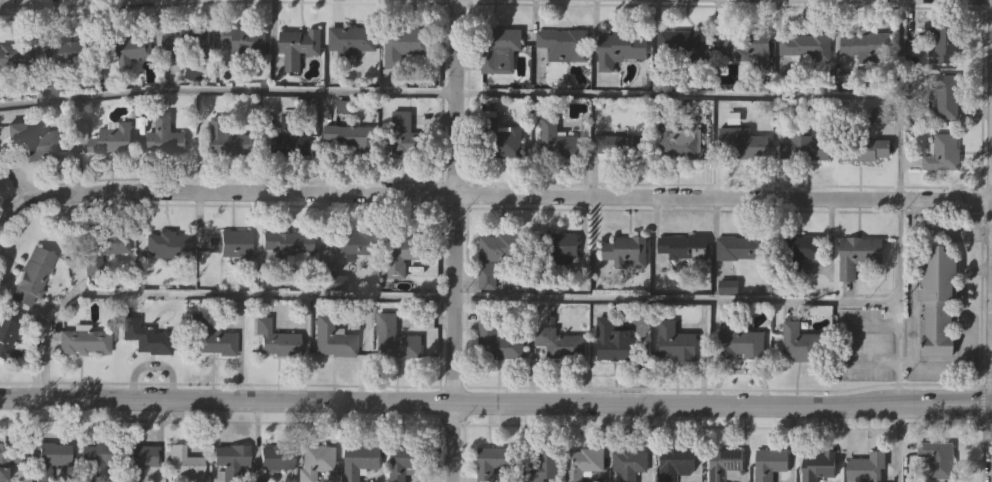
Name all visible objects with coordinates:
road: (45, 4)
building: (349, 40)
building: (944, 40)
building: (190, 42)
building: (246, 42)
building: (402, 43)
building: (564, 43)
building: (687, 43)
building: (298, 45)
building: (806, 45)
building: (866, 45)
building: (620, 46)
building: (130, 47)
building: (498, 47)
building: (748, 47)
building: (70, 50)
building: (15, 56)
road: (228, 90)
road: (679, 92)
building: (944, 93)
road: (901, 98)
building: (880, 116)
building: (405, 132)
building: (166, 134)
building: (556, 134)
building: (500, 135)
building: (677, 135)
building: (287, 136)
building: (349, 136)
building: (110, 139)
building: (227, 140)
building: (34, 142)
building: (743, 142)
building: (624, 144)
building: (805, 147)
building: (863, 148)
building: (943, 151)
road: (489, 194)
road: (455, 200)
building: (350, 241)
building: (285, 243)
building: (231, 244)
building: (169, 245)
building: (684, 245)
building: (101, 246)
building: (557, 246)
building: (741, 247)
building: (626, 249)
building: (801, 250)
building: (403, 252)
building: (497, 252)
building: (855, 255)
building: (32, 275)
building: (494, 280)
road: (204, 293)
road: (678, 298)
building: (937, 299)
road: (901, 300)
building: (148, 335)
building: (211, 335)
building: (398, 336)
building: (277, 337)
building: (335, 337)
building: (500, 338)
building: (85, 339)
building: (615, 339)
building: (677, 340)
building: (561, 341)
building: (742, 341)
building: (801, 341)
building: (12, 342)
road: (227, 399)
road: (723, 405)
road: (454, 442)
road: (899, 442)
road: (991, 443)
building: (11, 456)
building: (277, 457)
building: (937, 457)
building: (51, 458)
building: (98, 458)
building: (139, 459)
building: (231, 459)
building: (361, 459)
building: (318, 460)
building: (405, 461)
building: (492, 461)
building: (585, 462)
building: (631, 462)
building: (677, 462)
building: (769, 463)
building: (185, 464)
building: (724, 465)
building: (819, 465)
building: (540, 466)
building: (865, 467)

